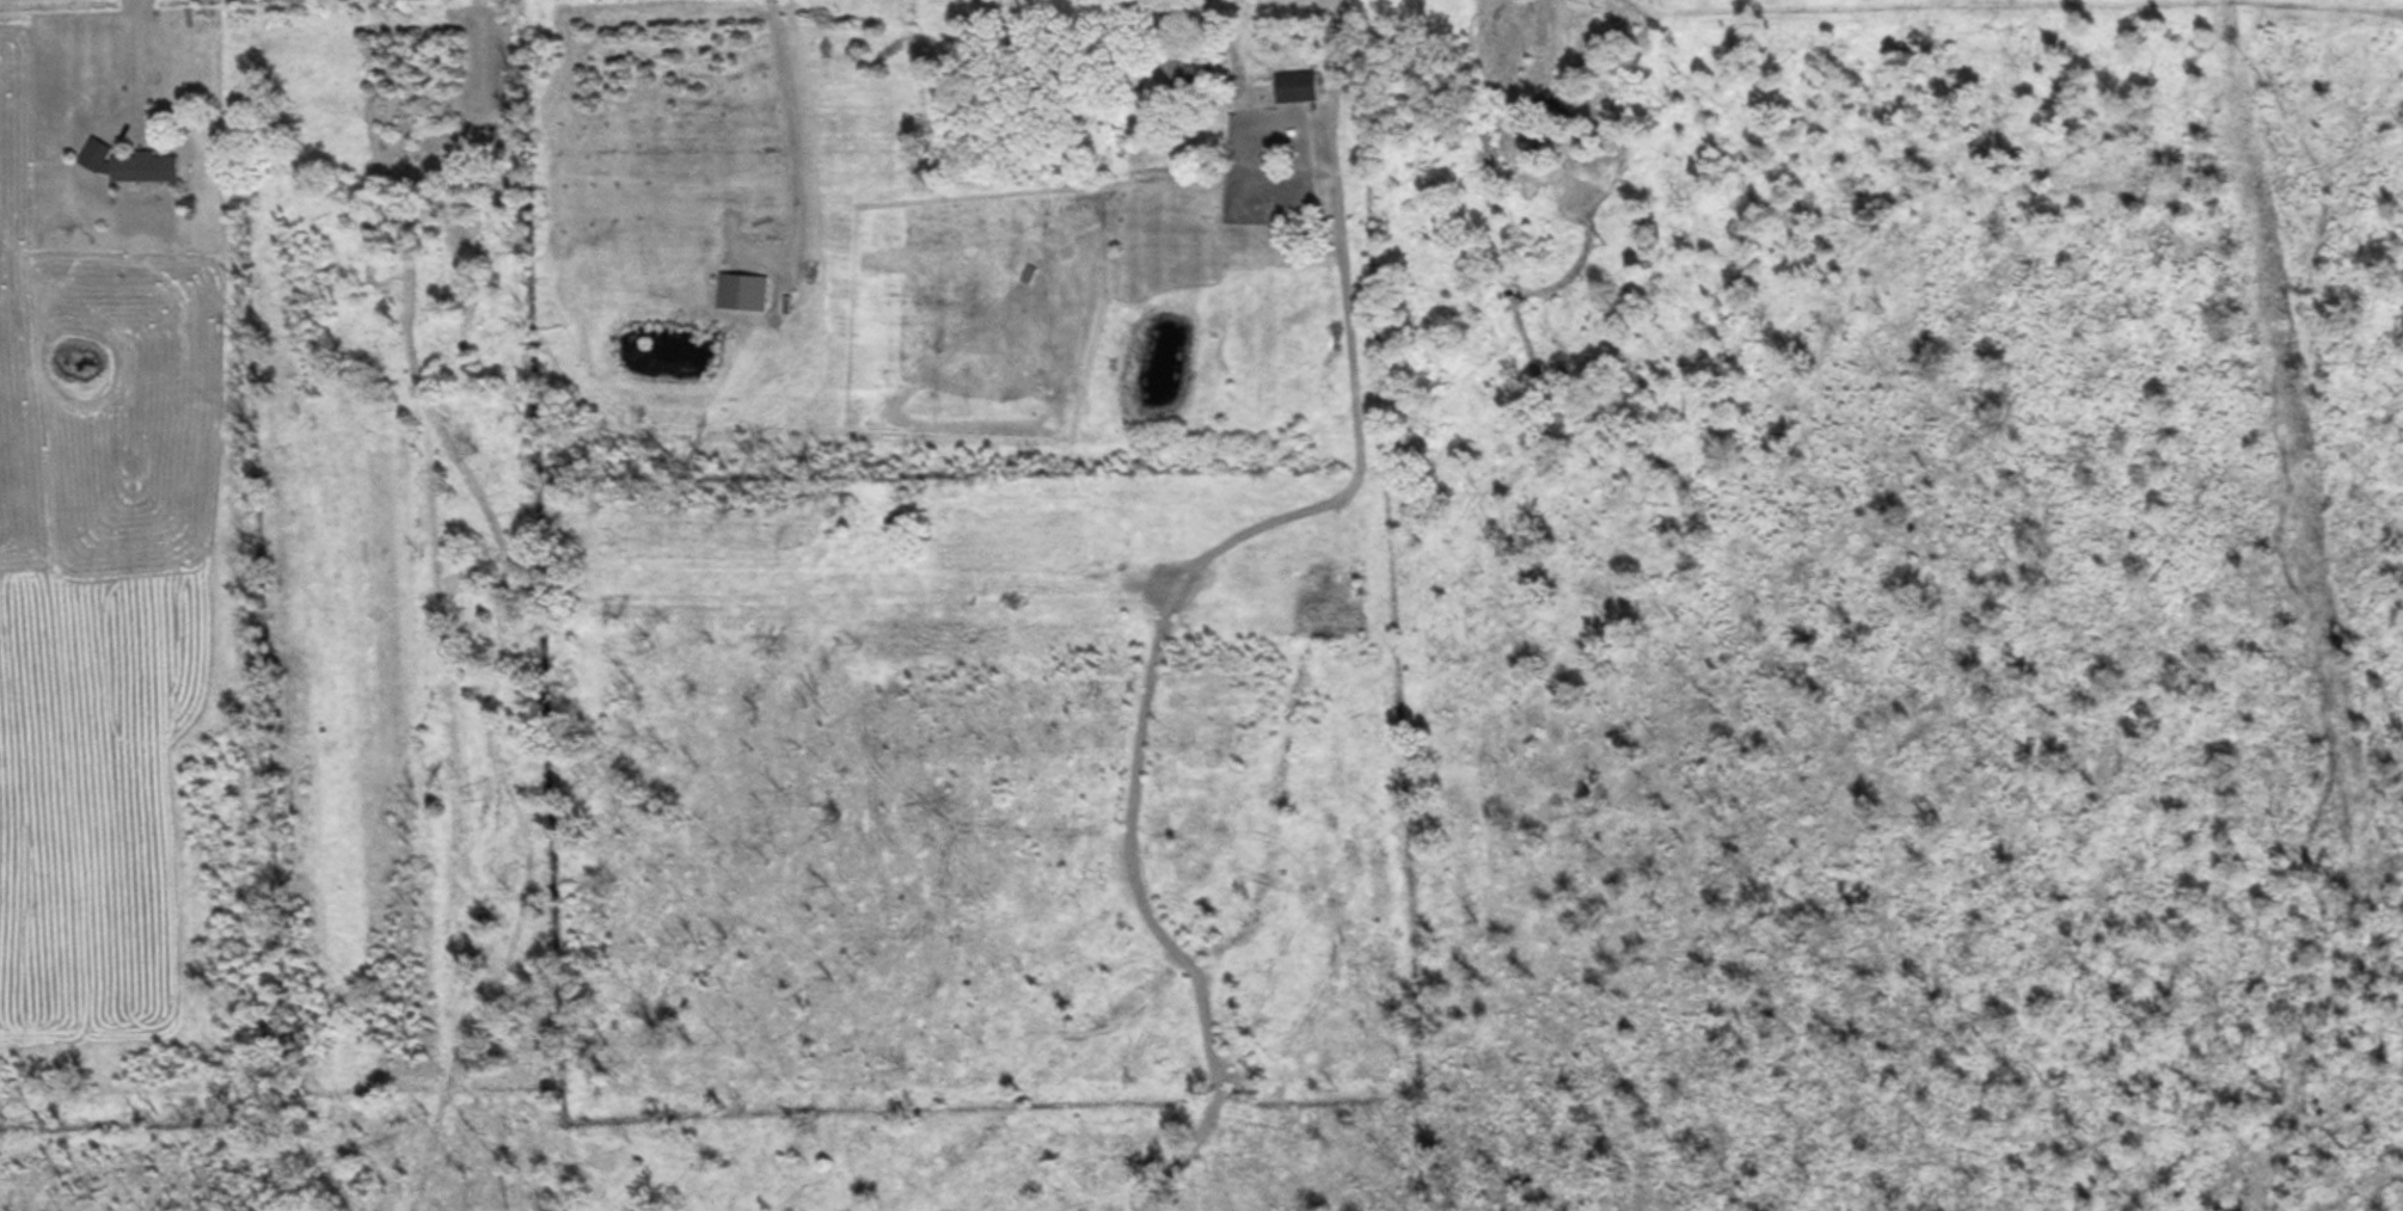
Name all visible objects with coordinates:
road: (124, 66)
building: (1177, 67)
building: (1527, 73)
building: (1293, 84)
building: (142, 164)
building: (1277, 189)
building: (741, 288)

